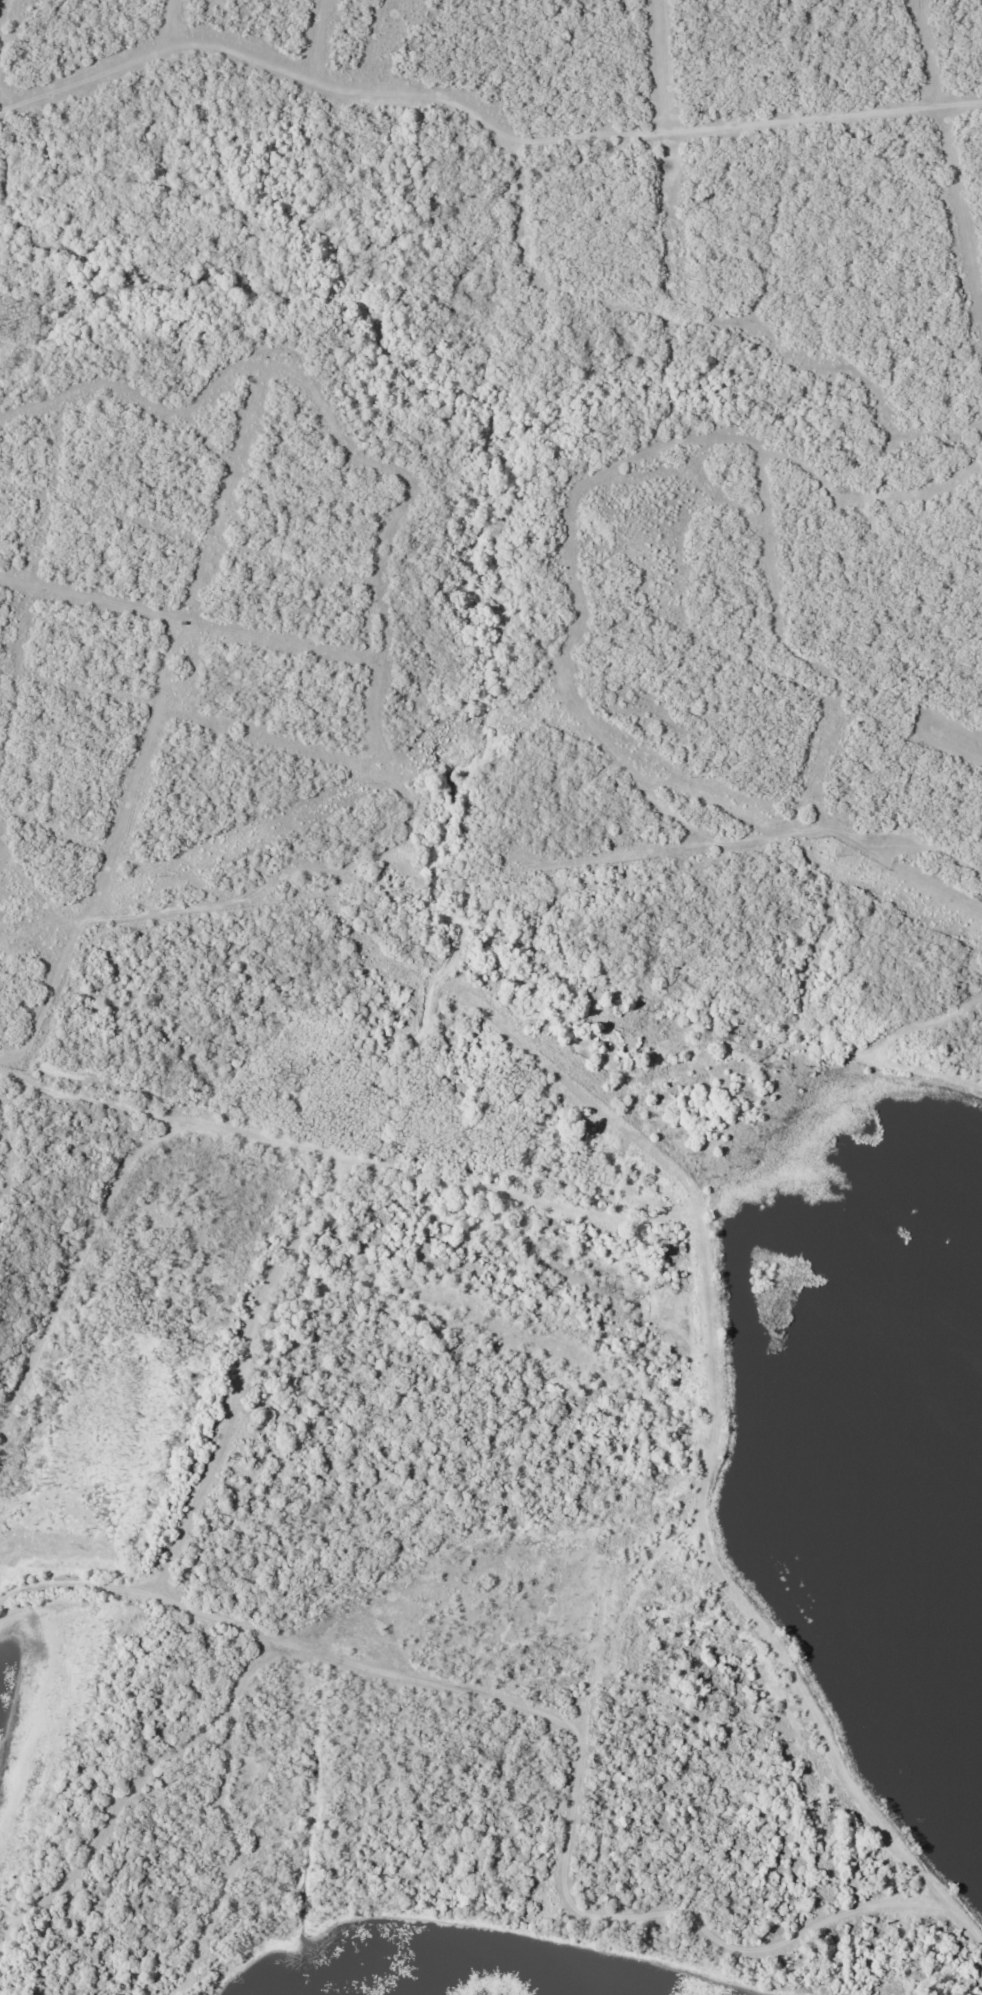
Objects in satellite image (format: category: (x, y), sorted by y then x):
road: (505, 1711)

